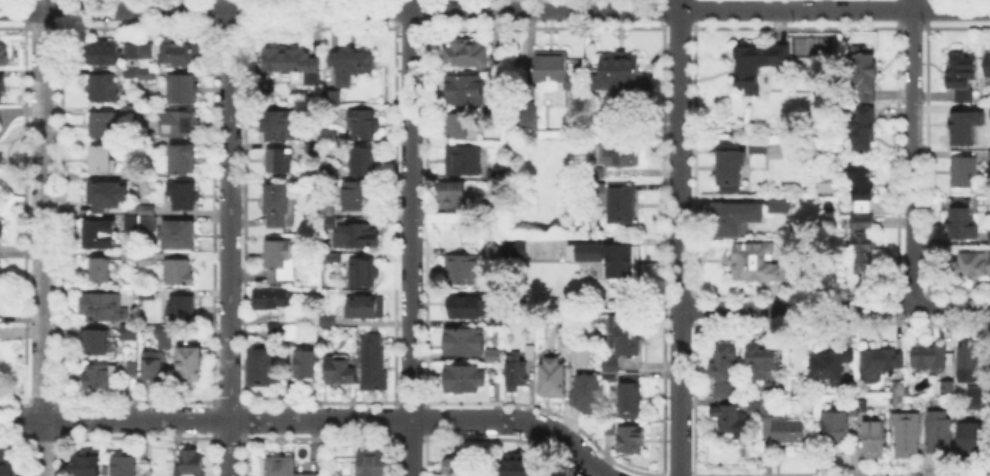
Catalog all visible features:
road: (494, 9)
building: (2, 52)
building: (141, 53)
building: (464, 53)
building: (781, 54)
building: (104, 55)
building: (183, 56)
building: (349, 59)
building: (292, 62)
building: (495, 62)
building: (748, 67)
building: (988, 68)
building: (867, 72)
building: (619, 73)
building: (551, 74)
building: (142, 75)
building: (345, 77)
building: (962, 79)
building: (1, 80)
building: (463, 88)
building: (105, 91)
building: (183, 91)
building: (335, 99)
building: (485, 109)
building: (132, 111)
building: (989, 111)
building: (526, 114)
building: (456, 123)
building: (365, 125)
building: (105, 127)
building: (181, 127)
building: (280, 127)
building: (966, 128)
building: (865, 130)
building: (331, 134)
building: (149, 142)
building: (730, 143)
building: (758, 148)
road: (911, 152)
road: (678, 153)
building: (616, 154)
building: (461, 157)
building: (989, 157)
building: (183, 161)
building: (104, 162)
building: (281, 162)
building: (365, 163)
building: (732, 170)
building: (595, 171)
building: (494, 172)
building: (966, 173)
building: (130, 175)
building: (862, 183)
building: (596, 186)
building: (826, 186)
building: (449, 193)
building: (108, 198)
building: (185, 198)
building: (364, 198)
building: (778, 204)
building: (620, 205)
building: (493, 206)
building: (282, 207)
building: (863, 207)
building: (148, 210)
building: (734, 215)
building: (129, 221)
building: (864, 221)
building: (963, 221)
building: (150, 223)
building: (328, 223)
building: (0, 225)
building: (102, 236)
building: (988, 236)
building: (181, 237)
road: (228, 237)
road: (410, 237)
road: (43, 238)
building: (355, 241)
building: (515, 247)
building: (863, 251)
building: (495, 252)
building: (608, 255)
building: (129, 261)
building: (147, 261)
building: (281, 263)
building: (973, 265)
building: (759, 266)
building: (460, 267)
building: (102, 272)
building: (180, 274)
building: (364, 274)
building: (274, 300)
building: (465, 304)
road: (834, 304)
building: (104, 308)
building: (367, 309)
building: (183, 310)
building: (495, 319)
building: (309, 320)
building: (328, 320)
building: (624, 331)
building: (275, 333)
building: (130, 334)
building: (292, 334)
building: (162, 336)
building: (173, 339)
building: (462, 339)
building: (561, 339)
building: (97, 344)
building: (529, 350)
building: (493, 353)
building: (579, 353)
building: (762, 358)
building: (931, 359)
building: (970, 359)
building: (609, 362)
building: (375, 364)
building: (833, 364)
building: (881, 364)
building: (306, 365)
building: (192, 368)
building: (155, 369)
building: (134, 370)
building: (264, 370)
building: (515, 371)
building: (341, 372)
building: (724, 374)
building: (461, 376)
building: (549, 376)
building: (608, 376)
building: (99, 378)
building: (948, 385)
building: (779, 386)
building: (898, 387)
building: (585, 391)
road: (679, 391)
building: (627, 394)
building: (975, 395)
building: (752, 403)
building: (859, 405)
building: (769, 407)
building: (729, 419)
road: (310, 420)
building: (606, 426)
building: (837, 428)
building: (791, 432)
building: (936, 432)
building: (904, 433)
building: (628, 436)
building: (968, 437)
building: (874, 439)
building: (373, 463)
building: (5, 464)
building: (90, 464)
building: (193, 464)
building: (126, 466)
building: (281, 467)
building: (458, 467)
building: (519, 468)

